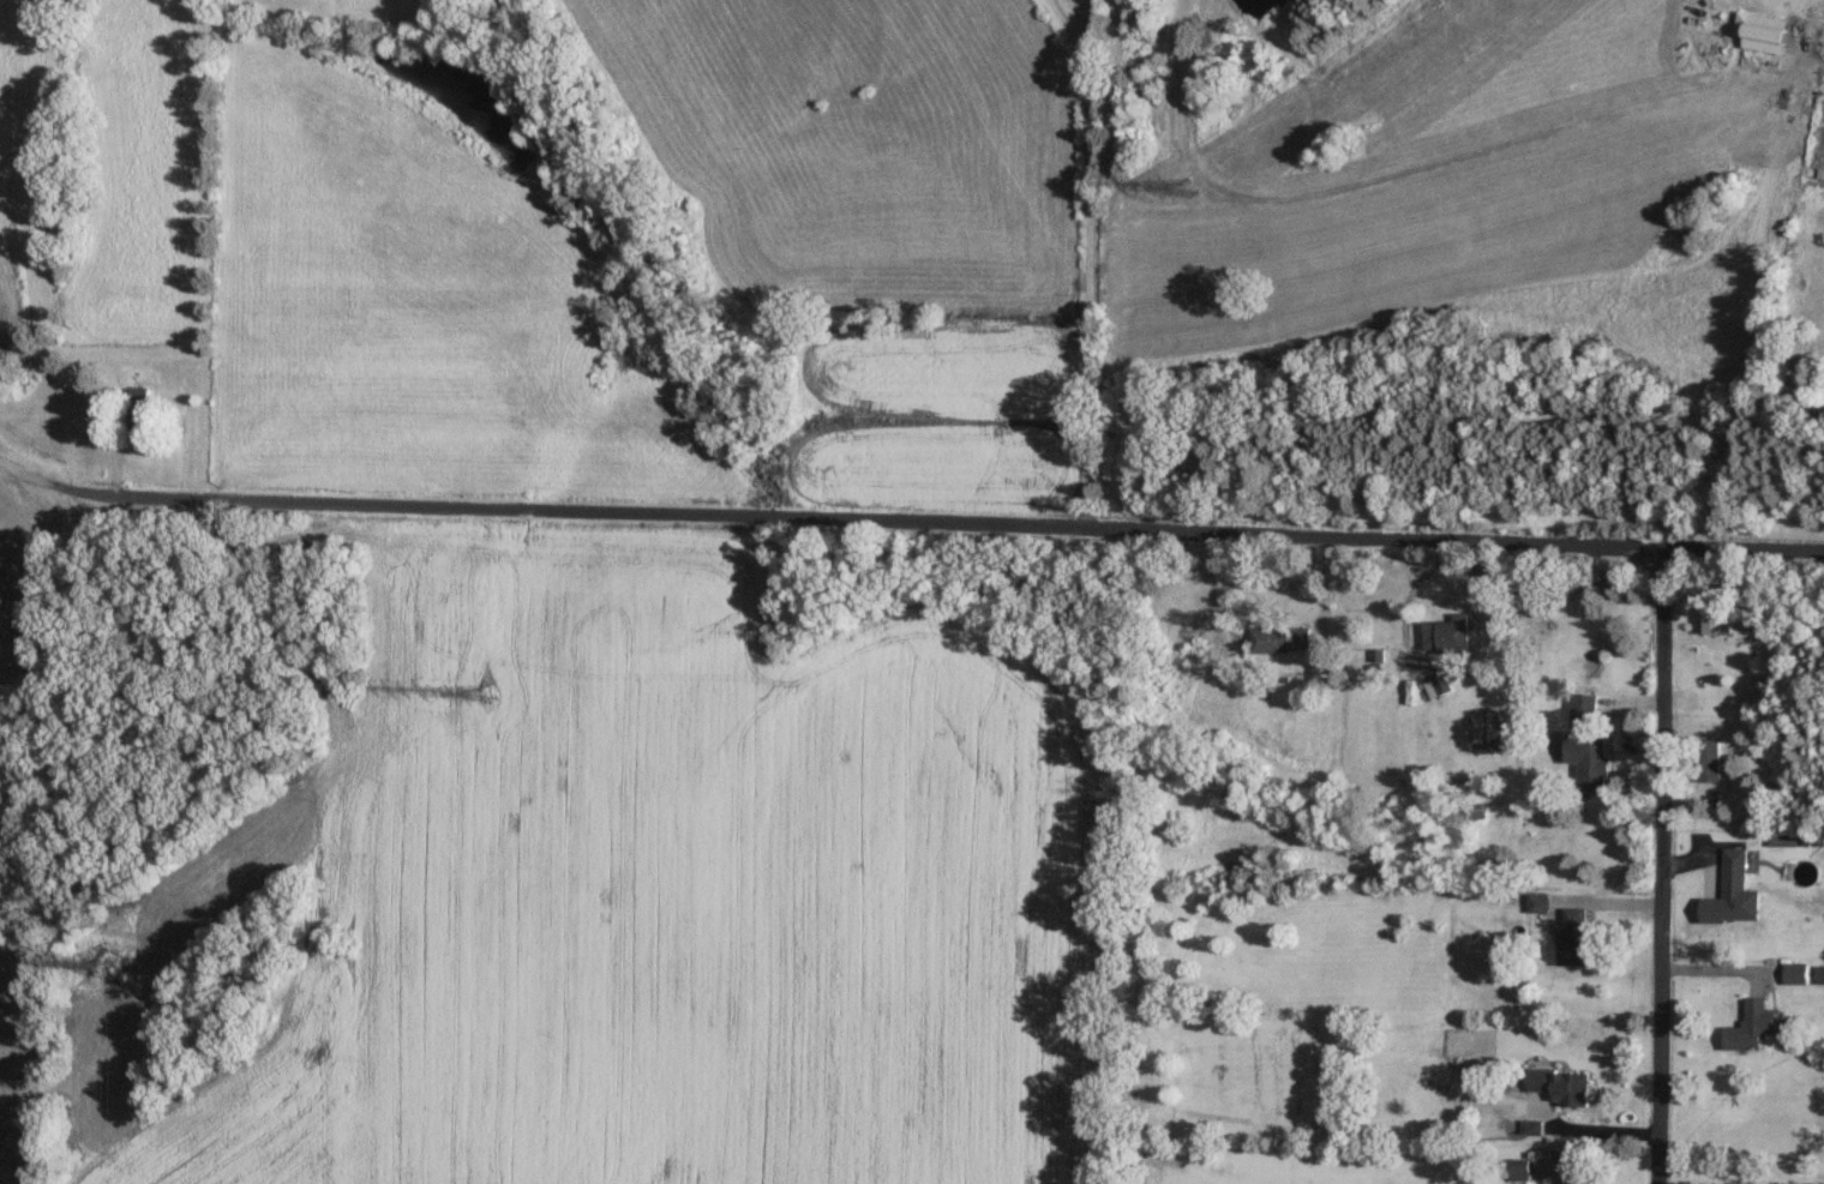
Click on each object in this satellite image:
building: (1762, 30)
power tower: (1189, 182)
road: (1090, 258)
building: (140, 415)
road: (910, 518)
building: (1717, 621)
building: (1447, 633)
building: (1280, 637)
building: (1438, 685)
power tower: (486, 691)
building: (1584, 704)
building: (1709, 759)
building: (1594, 761)
road: (1656, 866)
building: (1800, 871)
building: (1734, 875)
building: (1540, 901)
building: (1573, 936)
power tower: (108, 958)
building: (1798, 972)
building: (1751, 1026)
building: (1562, 1084)

